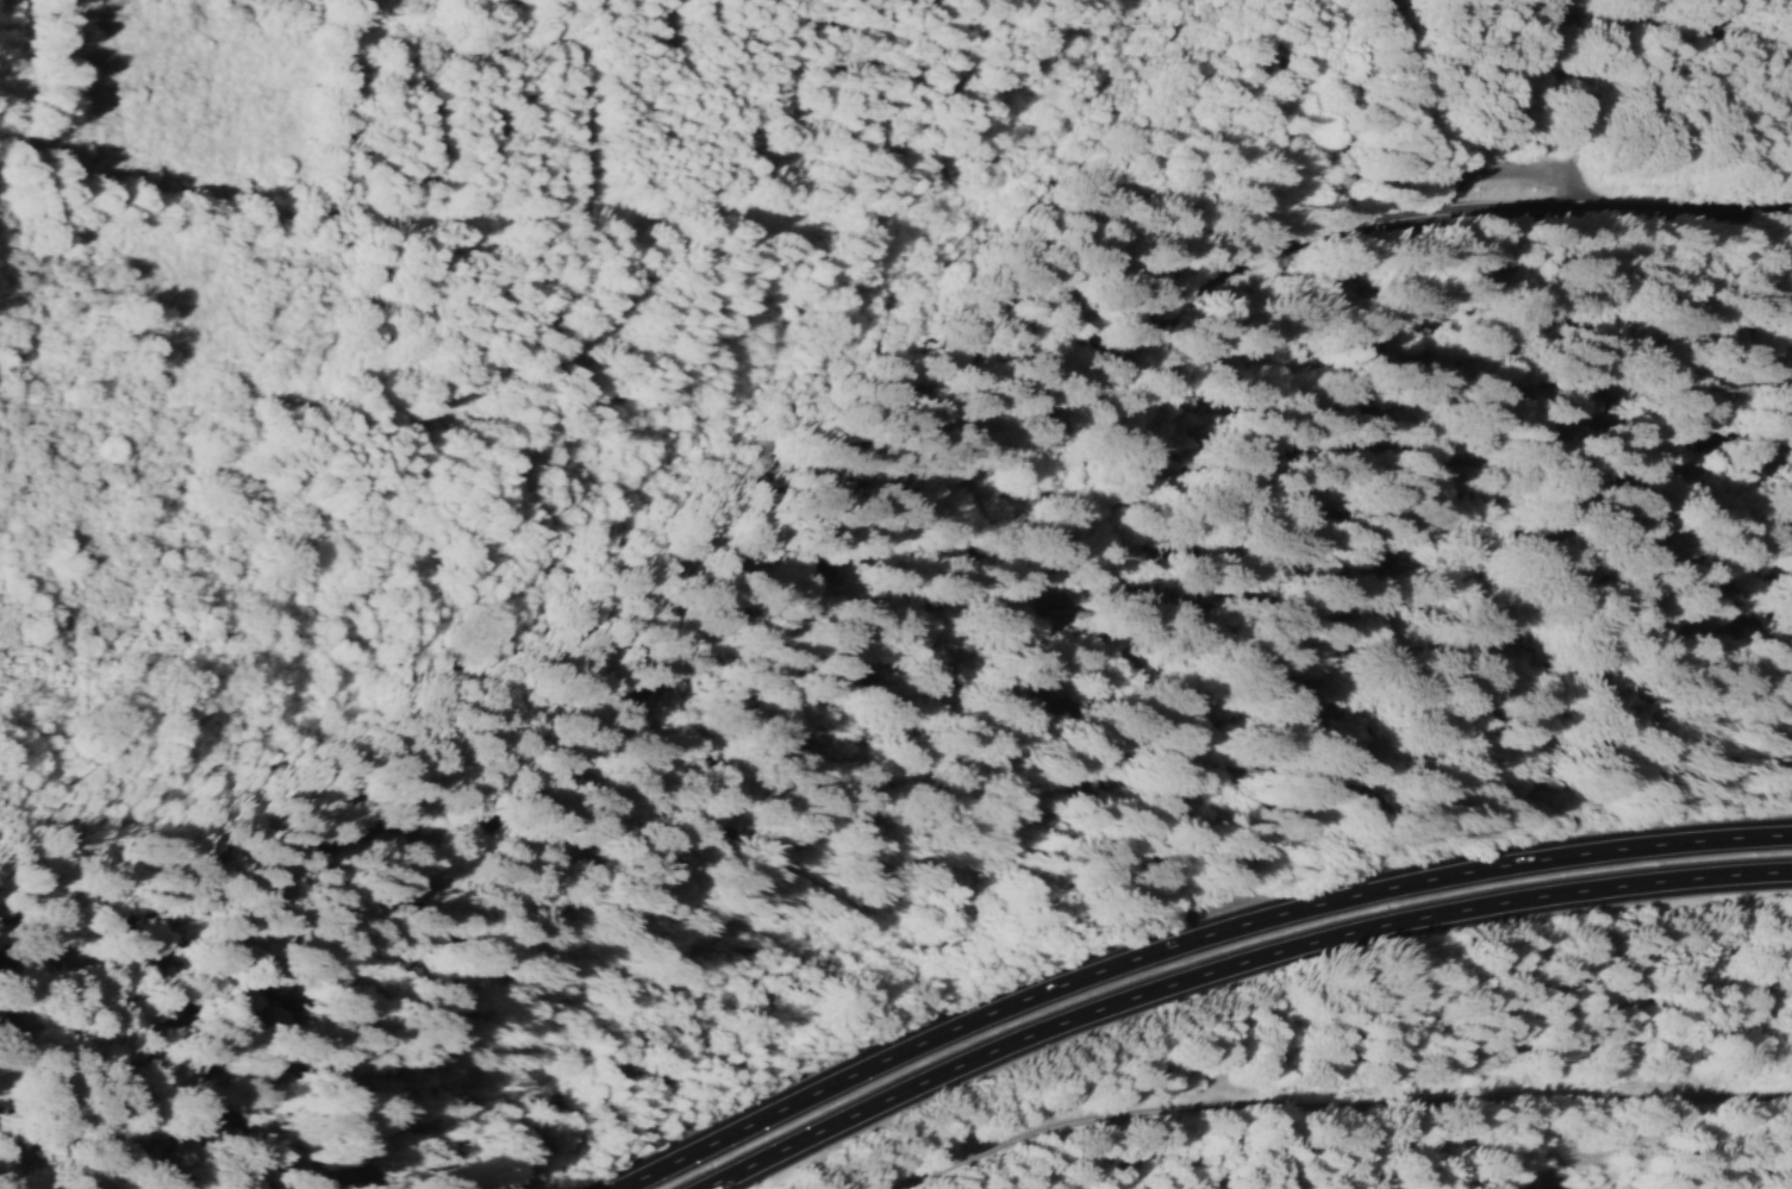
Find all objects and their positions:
road: (1409, 95)
road: (879, 213)
road: (898, 542)
road: (1185, 944)
road: (1230, 968)
road: (1348, 1114)

